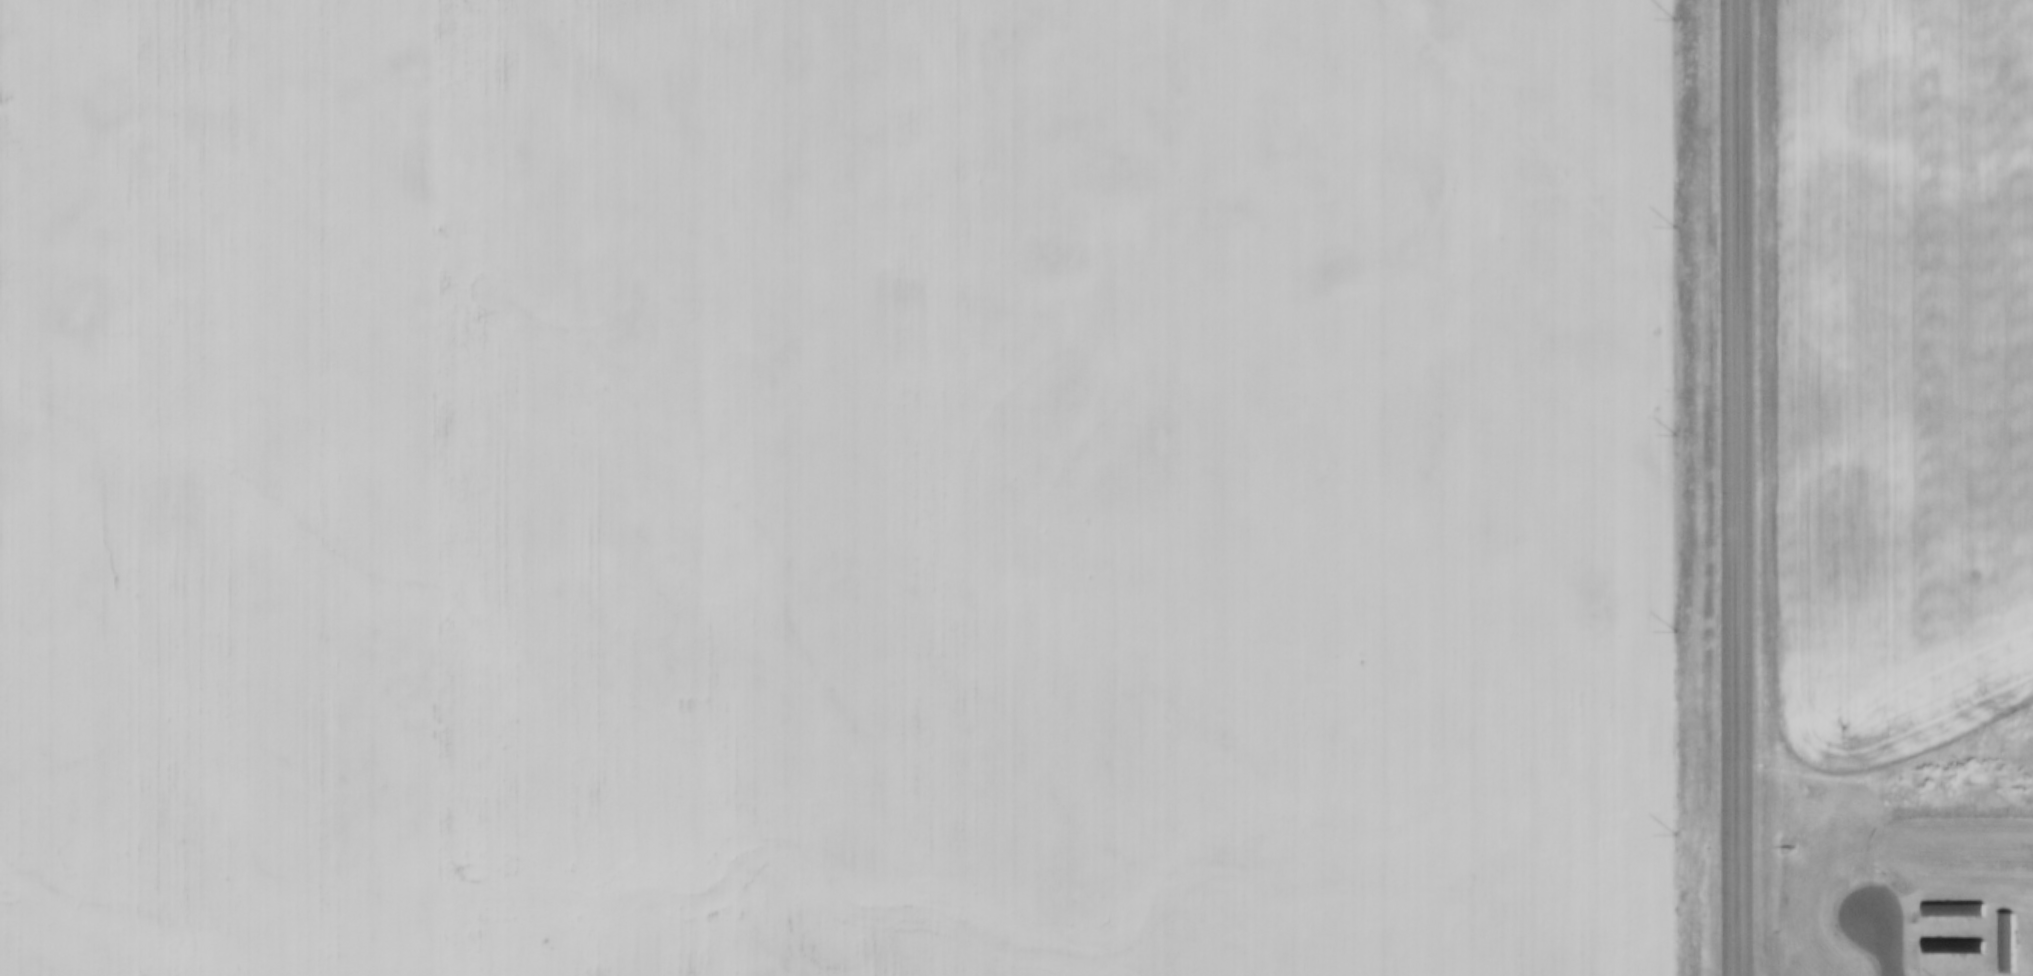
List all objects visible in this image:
road: (1736, 487)
building: (1953, 915)
road: (1882, 942)
building: (2005, 946)
building: (1952, 952)

